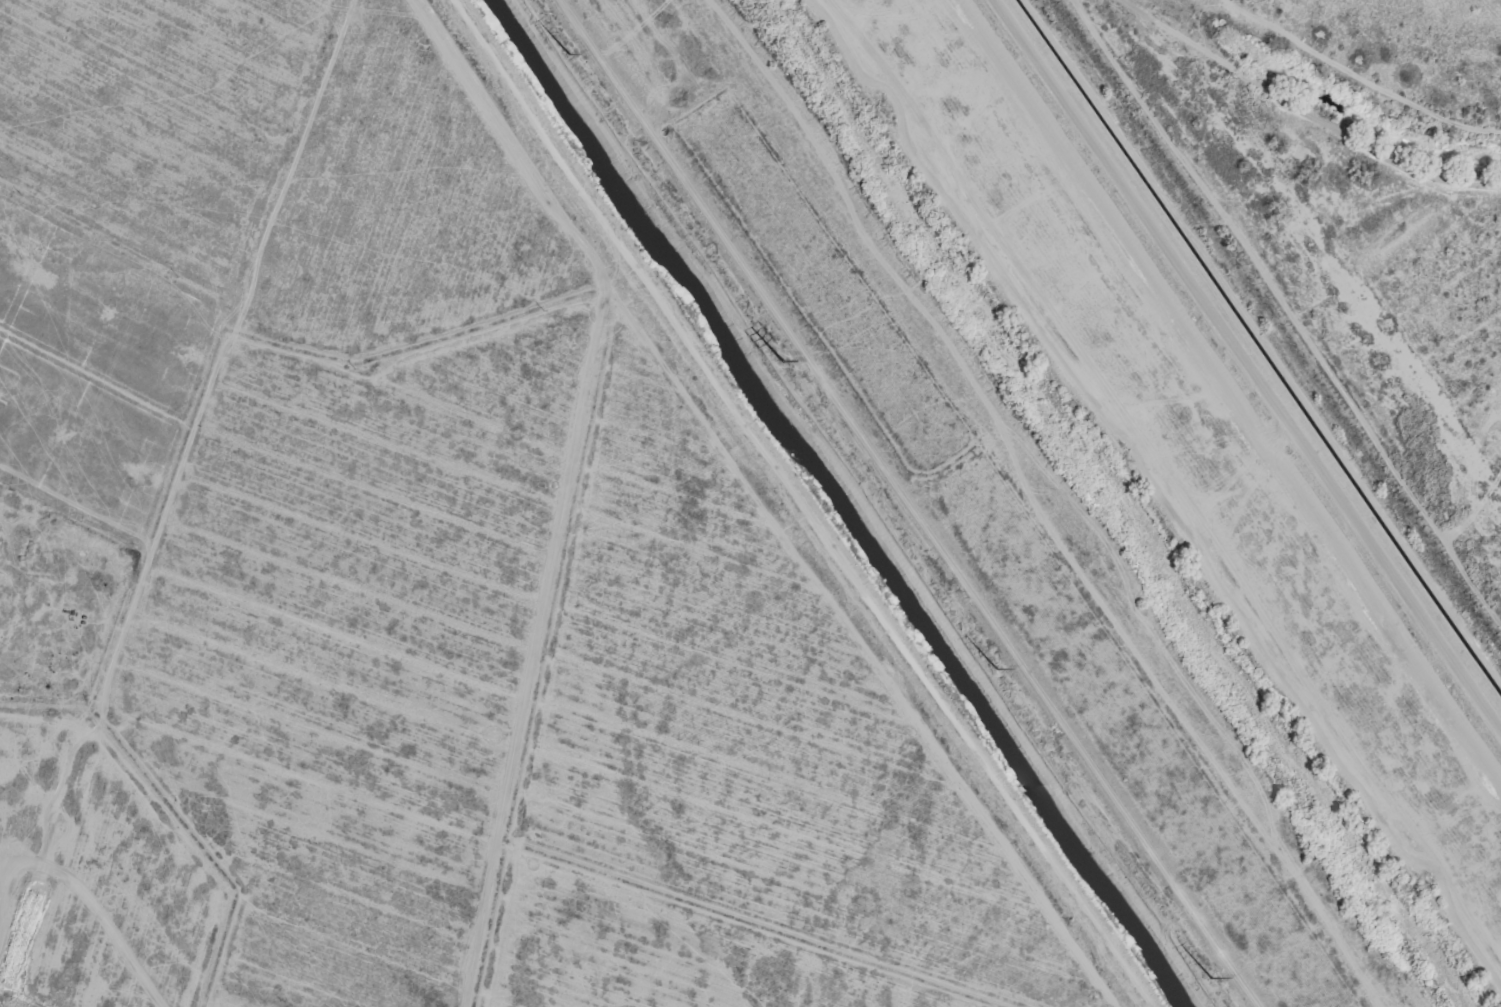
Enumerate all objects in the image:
power tower: (568, 51)
power tower: (775, 359)
river: (1123, 500)
road: (794, 502)
road: (905, 503)
power tower: (988, 666)
road: (82, 898)
power tower: (1204, 976)

